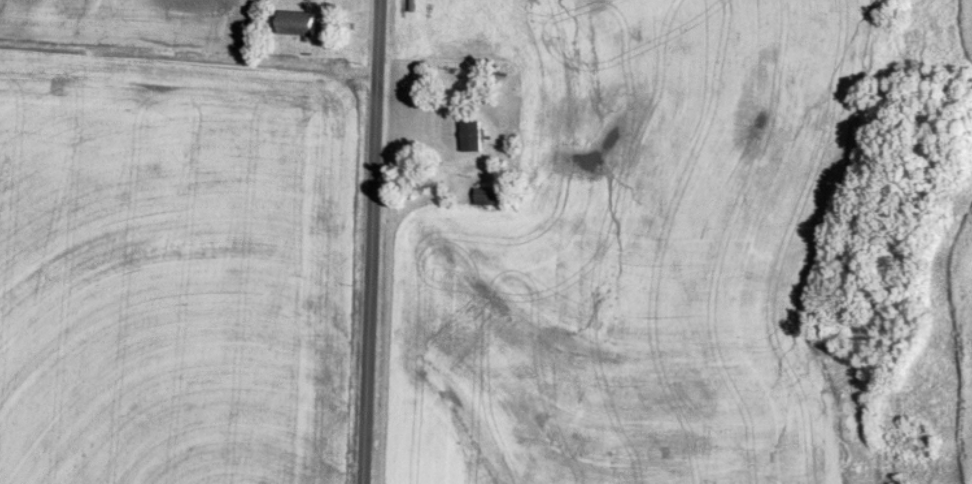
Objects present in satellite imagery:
building: (299, 24)
road: (191, 47)
building: (471, 136)
road: (374, 241)

